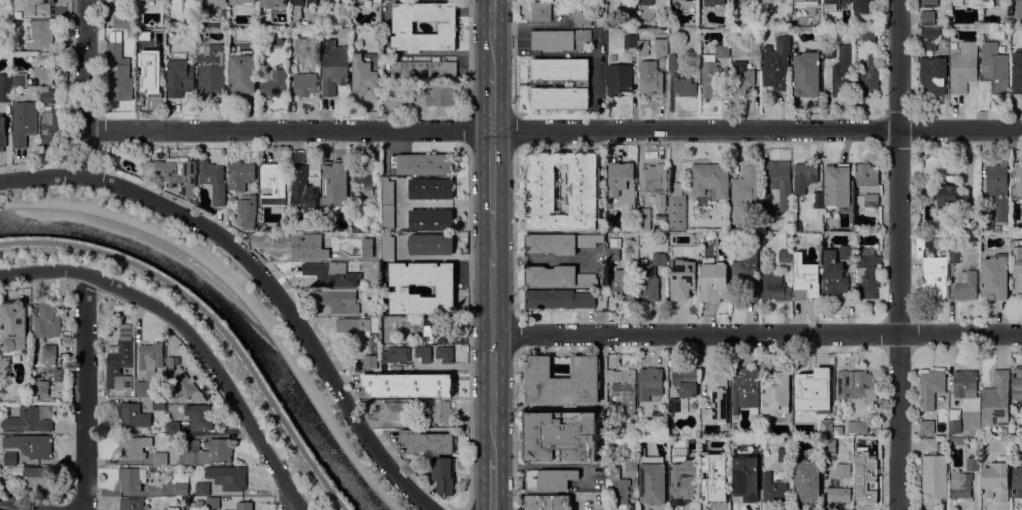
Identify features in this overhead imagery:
building: (151, 0)
building: (690, 0)
building: (773, 0)
building: (4, 1)
building: (212, 1)
building: (243, 1)
building: (646, 1)
building: (739, 1)
building: (768, 1)
building: (958, 1)
building: (262, 2)
building: (312, 2)
building: (713, 2)
building: (805, 2)
building: (987, 2)
building: (325, 3)
building: (754, 3)
building: (929, 3)
building: (830, 4)
building: (38, 6)
building: (861, 6)
building: (189, 7)
building: (344, 8)
building: (829, 8)
building: (846, 8)
building: (1017, 8)
building: (541, 10)
building: (662, 12)
building: (295, 13)
building: (574, 13)
building: (813, 13)
building: (927, 17)
building: (123, 20)
building: (303, 23)
building: (403, 26)
building: (131, 32)
building: (651, 32)
building: (857, 33)
building: (161, 34)
building: (40, 35)
building: (868, 36)
road: (492, 37)
building: (929, 38)
building: (561, 39)
building: (630, 40)
building: (661, 43)
building: (301, 46)
building: (753, 47)
building: (643, 48)
building: (722, 49)
building: (828, 50)
road: (579, 52)
building: (672, 61)
building: (776, 63)
building: (333, 66)
building: (963, 66)
building: (994, 66)
building: (44, 69)
building: (117, 69)
building: (211, 69)
building: (424, 69)
building: (561, 69)
building: (1017, 70)
building: (147, 71)
building: (841, 72)
building: (242, 73)
building: (806, 73)
building: (933, 73)
building: (366, 75)
building: (180, 77)
building: (650, 77)
building: (741, 77)
building: (867, 77)
building: (20, 79)
building: (619, 79)
building: (711, 79)
building: (274, 82)
building: (305, 83)
building: (685, 86)
building: (5, 87)
road: (84, 87)
building: (400, 94)
building: (441, 95)
building: (46, 96)
building: (561, 97)
road: (492, 101)
building: (24, 121)
building: (52, 127)
road: (553, 129)
building: (2, 131)
building: (422, 163)
building: (137, 172)
building: (175, 172)
building: (333, 172)
road: (492, 174)
building: (866, 174)
building: (241, 175)
building: (364, 177)
building: (654, 177)
building: (710, 178)
building: (1018, 178)
building: (213, 180)
building: (807, 181)
building: (273, 182)
building: (622, 182)
building: (837, 185)
building: (776, 187)
building: (431, 188)
building: (542, 189)
building: (998, 189)
building: (303, 191)
building: (387, 191)
building: (745, 191)
building: (344, 196)
building: (947, 196)
building: (868, 199)
building: (660, 200)
building: (677, 207)
building: (248, 211)
building: (387, 216)
building: (986, 217)
building: (643, 218)
building: (431, 219)
building: (965, 223)
building: (356, 226)
building: (998, 227)
building: (1005, 227)
building: (345, 228)
building: (950, 230)
road: (514, 231)
building: (362, 237)
road: (492, 239)
building: (559, 242)
building: (944, 242)
building: (300, 244)
building: (431, 244)
building: (388, 246)
building: (846, 252)
building: (613, 253)
building: (785, 255)
building: (797, 255)
road: (899, 255)
building: (953, 255)
road: (541, 259)
building: (932, 271)
building: (1017, 271)
building: (332, 273)
building: (834, 274)
building: (868, 274)
road: (261, 275)
building: (557, 275)
building: (746, 275)
building: (651, 277)
building: (995, 277)
building: (682, 278)
building: (714, 280)
building: (624, 284)
building: (807, 284)
building: (966, 285)
building: (775, 286)
building: (446, 288)
road: (242, 293)
road: (492, 296)
building: (559, 298)
building: (339, 299)
river: (226, 310)
road: (213, 318)
building: (48, 320)
building: (375, 323)
building: (353, 324)
building: (14, 327)
building: (437, 328)
road: (515, 332)
road: (756, 333)
road: (190, 334)
building: (423, 352)
building: (396, 353)
building: (445, 353)
building: (49, 355)
building: (151, 358)
building: (120, 359)
building: (371, 360)
building: (191, 368)
building: (57, 373)
building: (685, 380)
building: (202, 381)
building: (562, 381)
building: (182, 382)
building: (648, 382)
building: (806, 382)
building: (1017, 382)
building: (965, 383)
building: (409, 384)
building: (857, 385)
building: (142, 387)
building: (931, 387)
building: (40, 388)
building: (745, 388)
road: (86, 391)
building: (622, 392)
building: (777, 392)
road: (492, 395)
building: (717, 395)
building: (995, 400)
building: (159, 403)
building: (423, 403)
building: (677, 404)
building: (398, 410)
building: (442, 410)
building: (133, 414)
building: (199, 416)
building: (632, 418)
building: (30, 419)
building: (954, 420)
building: (823, 424)
building: (858, 426)
building: (927, 426)
building: (173, 427)
building: (839, 429)
road: (514, 430)
building: (560, 436)
building: (703, 440)
building: (958, 440)
building: (427, 441)
building: (754, 443)
building: (30, 444)
building: (930, 444)
building: (940, 445)
building: (134, 446)
building: (829, 446)
building: (864, 447)
building: (209, 450)
building: (784, 454)
building: (1021, 457)
building: (10, 458)
building: (160, 458)
building: (723, 458)
building: (973, 462)
building: (631, 463)
building: (689, 463)
building: (725, 468)
building: (843, 469)
building: (443, 472)
building: (228, 476)
building: (934, 476)
building: (33, 477)
building: (131, 478)
building: (549, 478)
building: (745, 478)
building: (996, 479)
building: (807, 480)
building: (652, 482)
building: (1017, 482)
building: (960, 483)
road: (492, 484)
building: (617, 486)
building: (181, 488)
building: (202, 488)
building: (773, 489)
building: (712, 490)
building: (838, 492)
building: (681, 493)
building: (863, 493)
building: (213, 502)
building: (548, 502)
building: (131, 504)
road: (22, 505)
road: (293, 505)
building: (243, 506)
building: (170, 508)
road: (74, 509)

